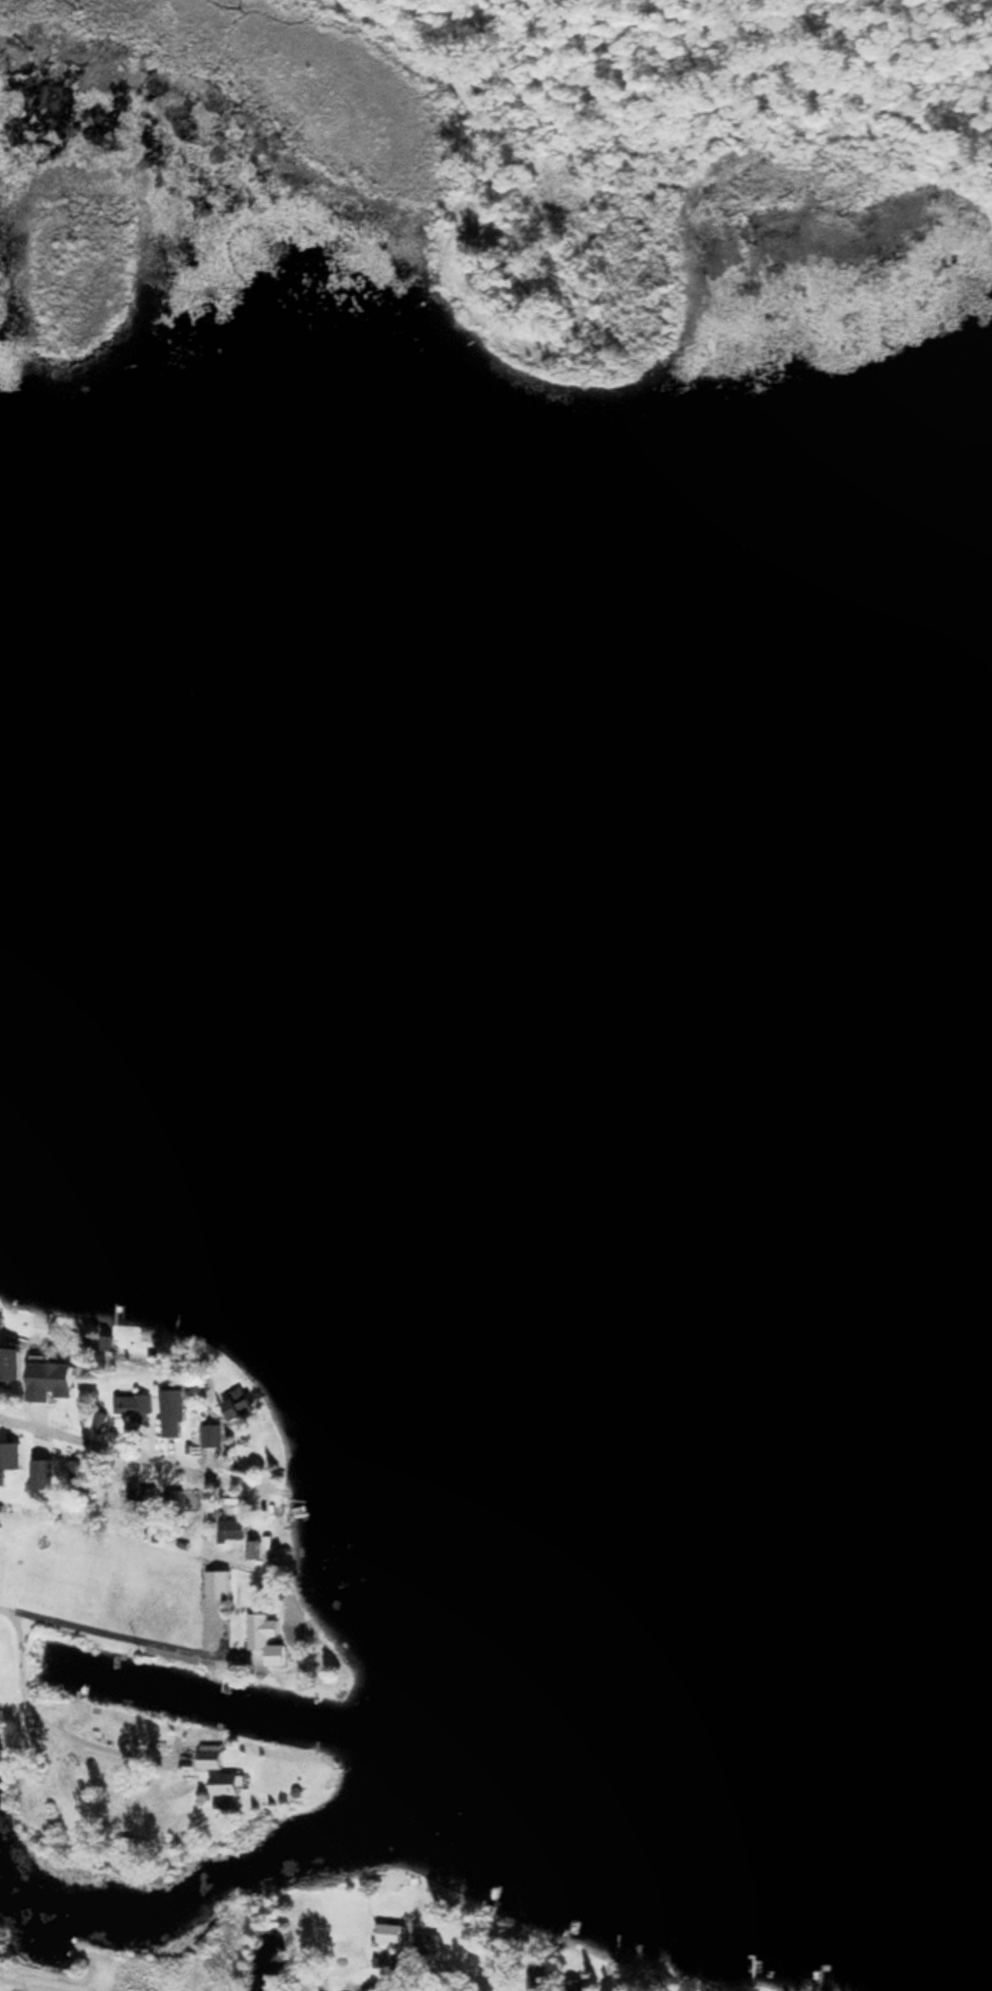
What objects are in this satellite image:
building: (11, 1363)
building: (65, 1395)
building: (239, 1402)
building: (138, 1404)
building: (177, 1410)
building: (214, 1433)
road: (134, 1445)
building: (46, 1473)
building: (82, 1474)
building: (146, 1496)
building: (173, 1499)
building: (230, 1528)
building: (259, 1548)
building: (268, 1637)
building: (212, 1755)
building: (228, 1782)
building: (392, 1932)
building: (428, 1943)
building: (463, 1945)
road: (418, 1976)

